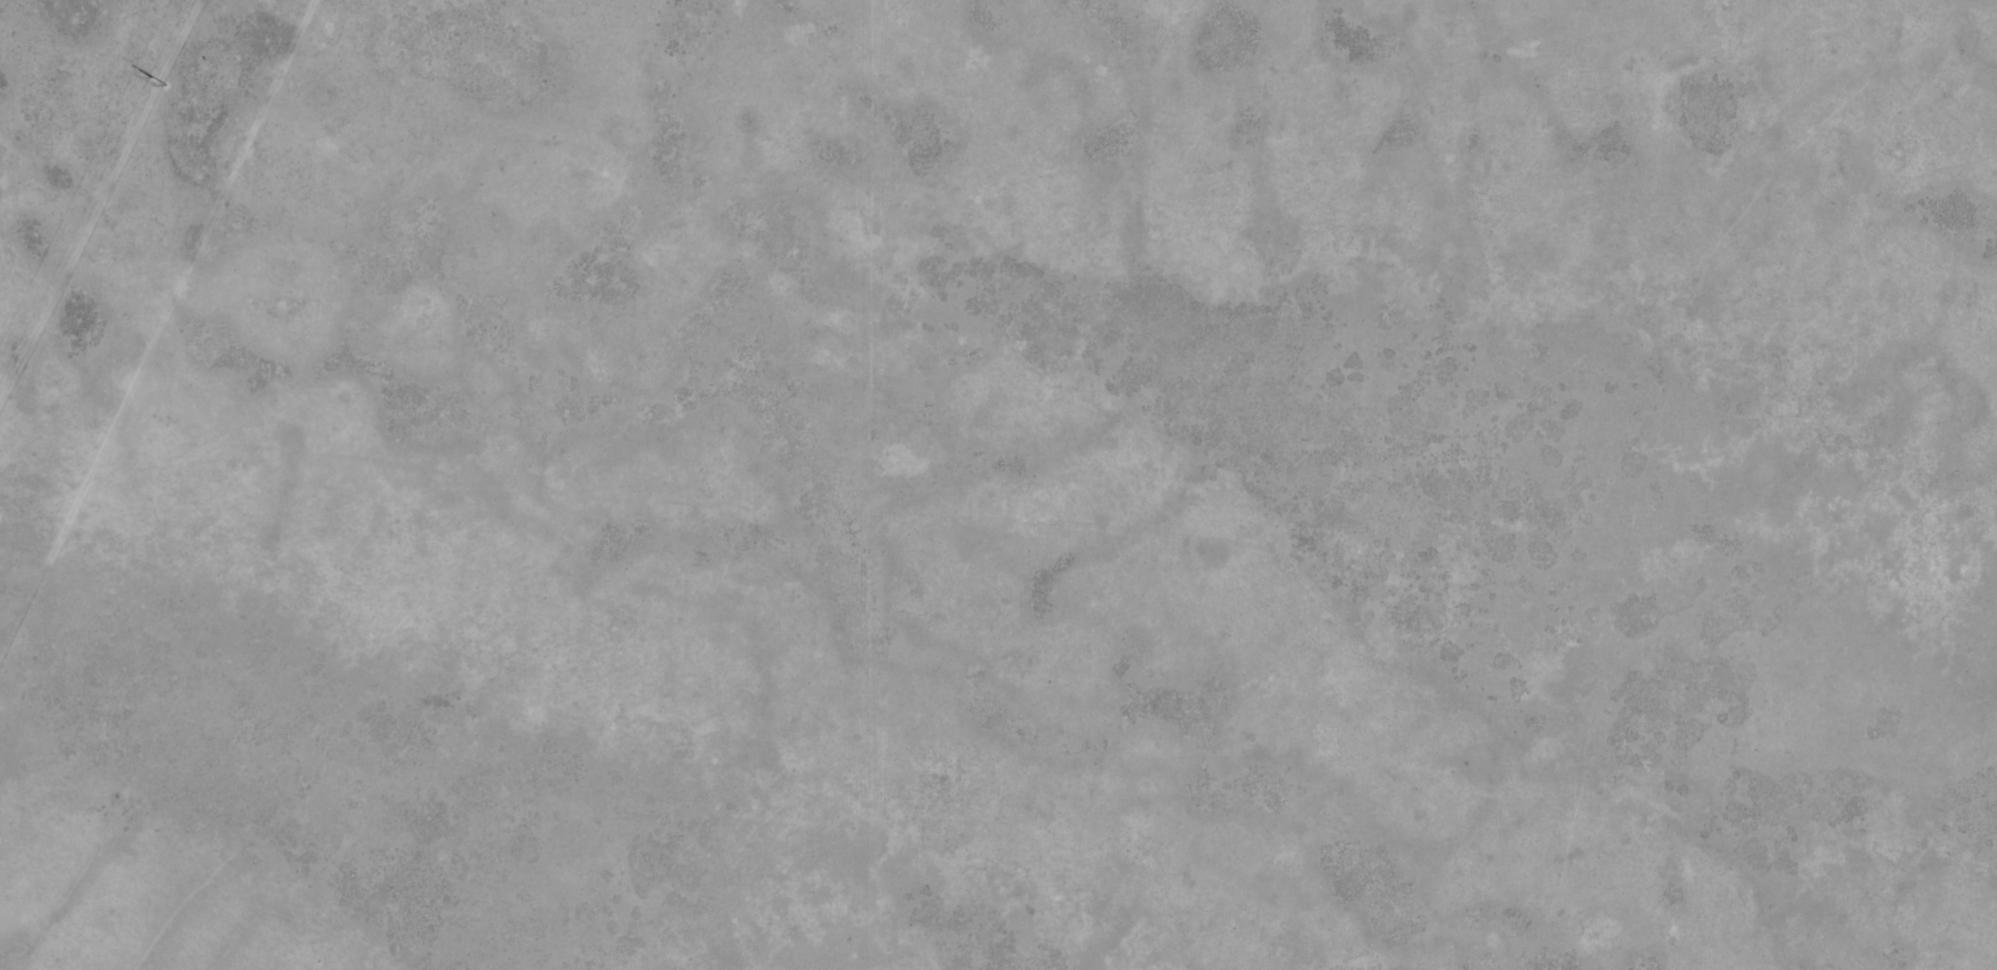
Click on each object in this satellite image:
power tower: (160, 80)

